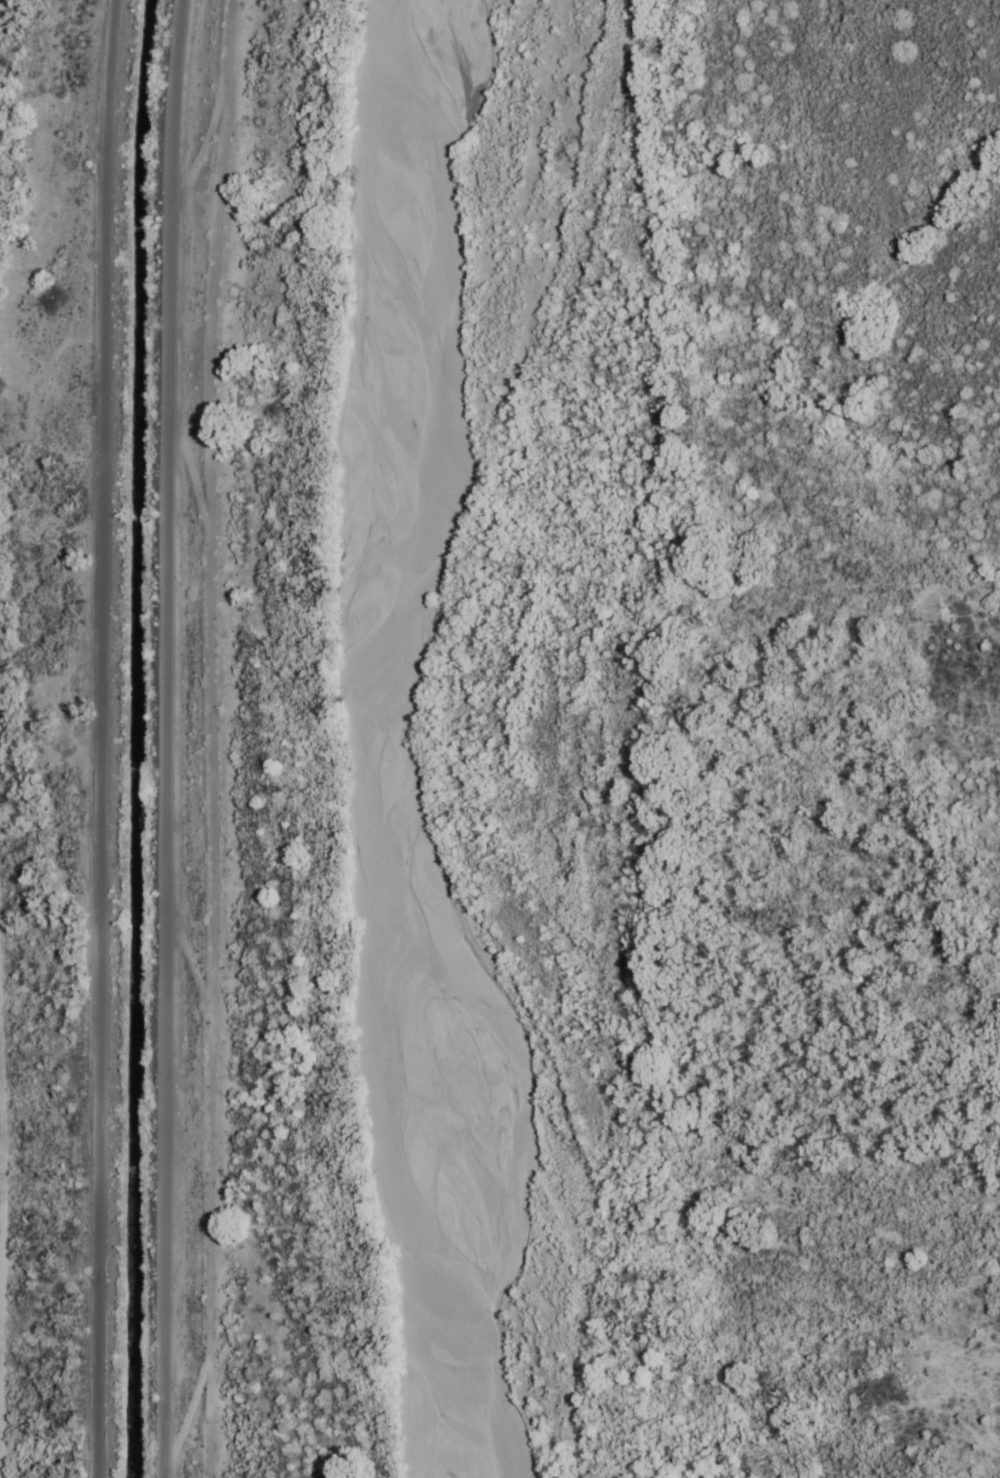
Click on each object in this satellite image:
road: (152, 737)
road: (93, 738)
river: (376, 741)

